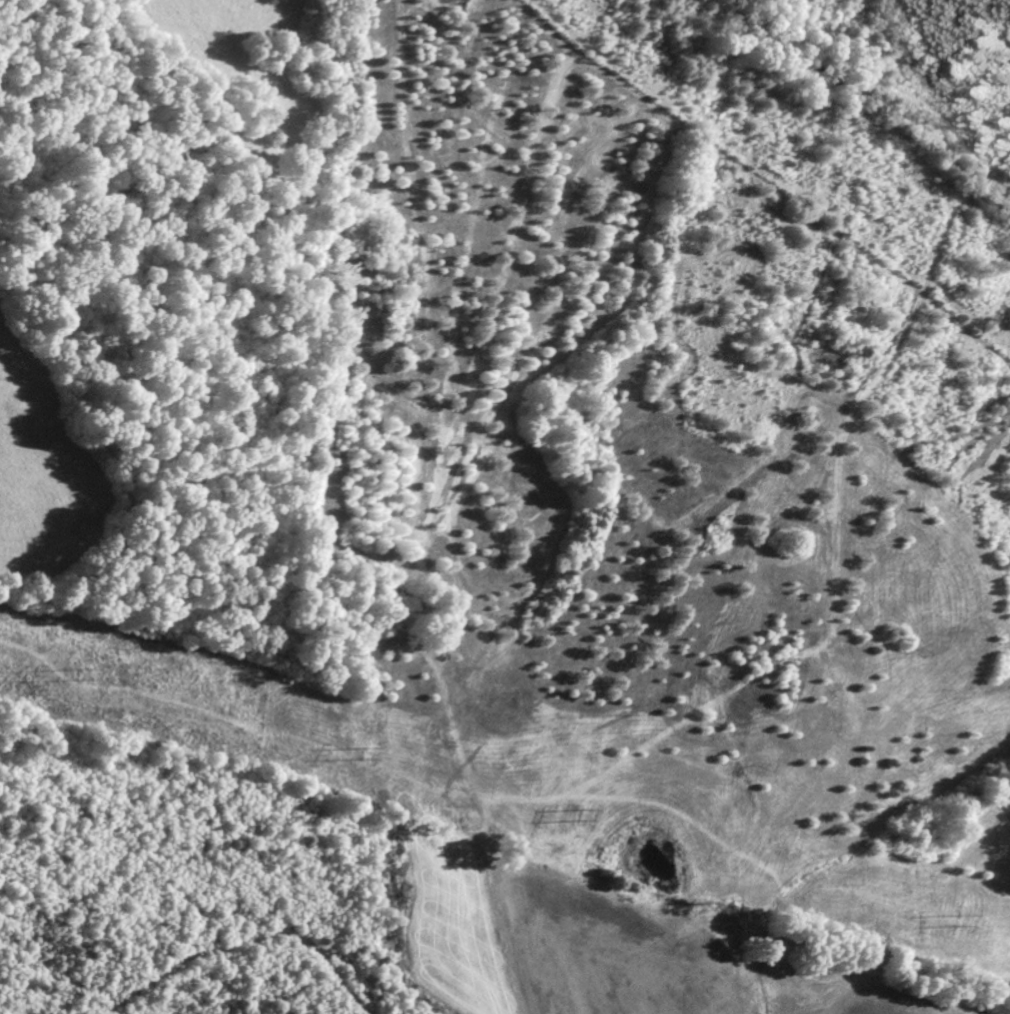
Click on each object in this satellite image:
power tower: (89, 679)
power tower: (368, 758)
power tower: (585, 819)
power tower: (958, 924)

